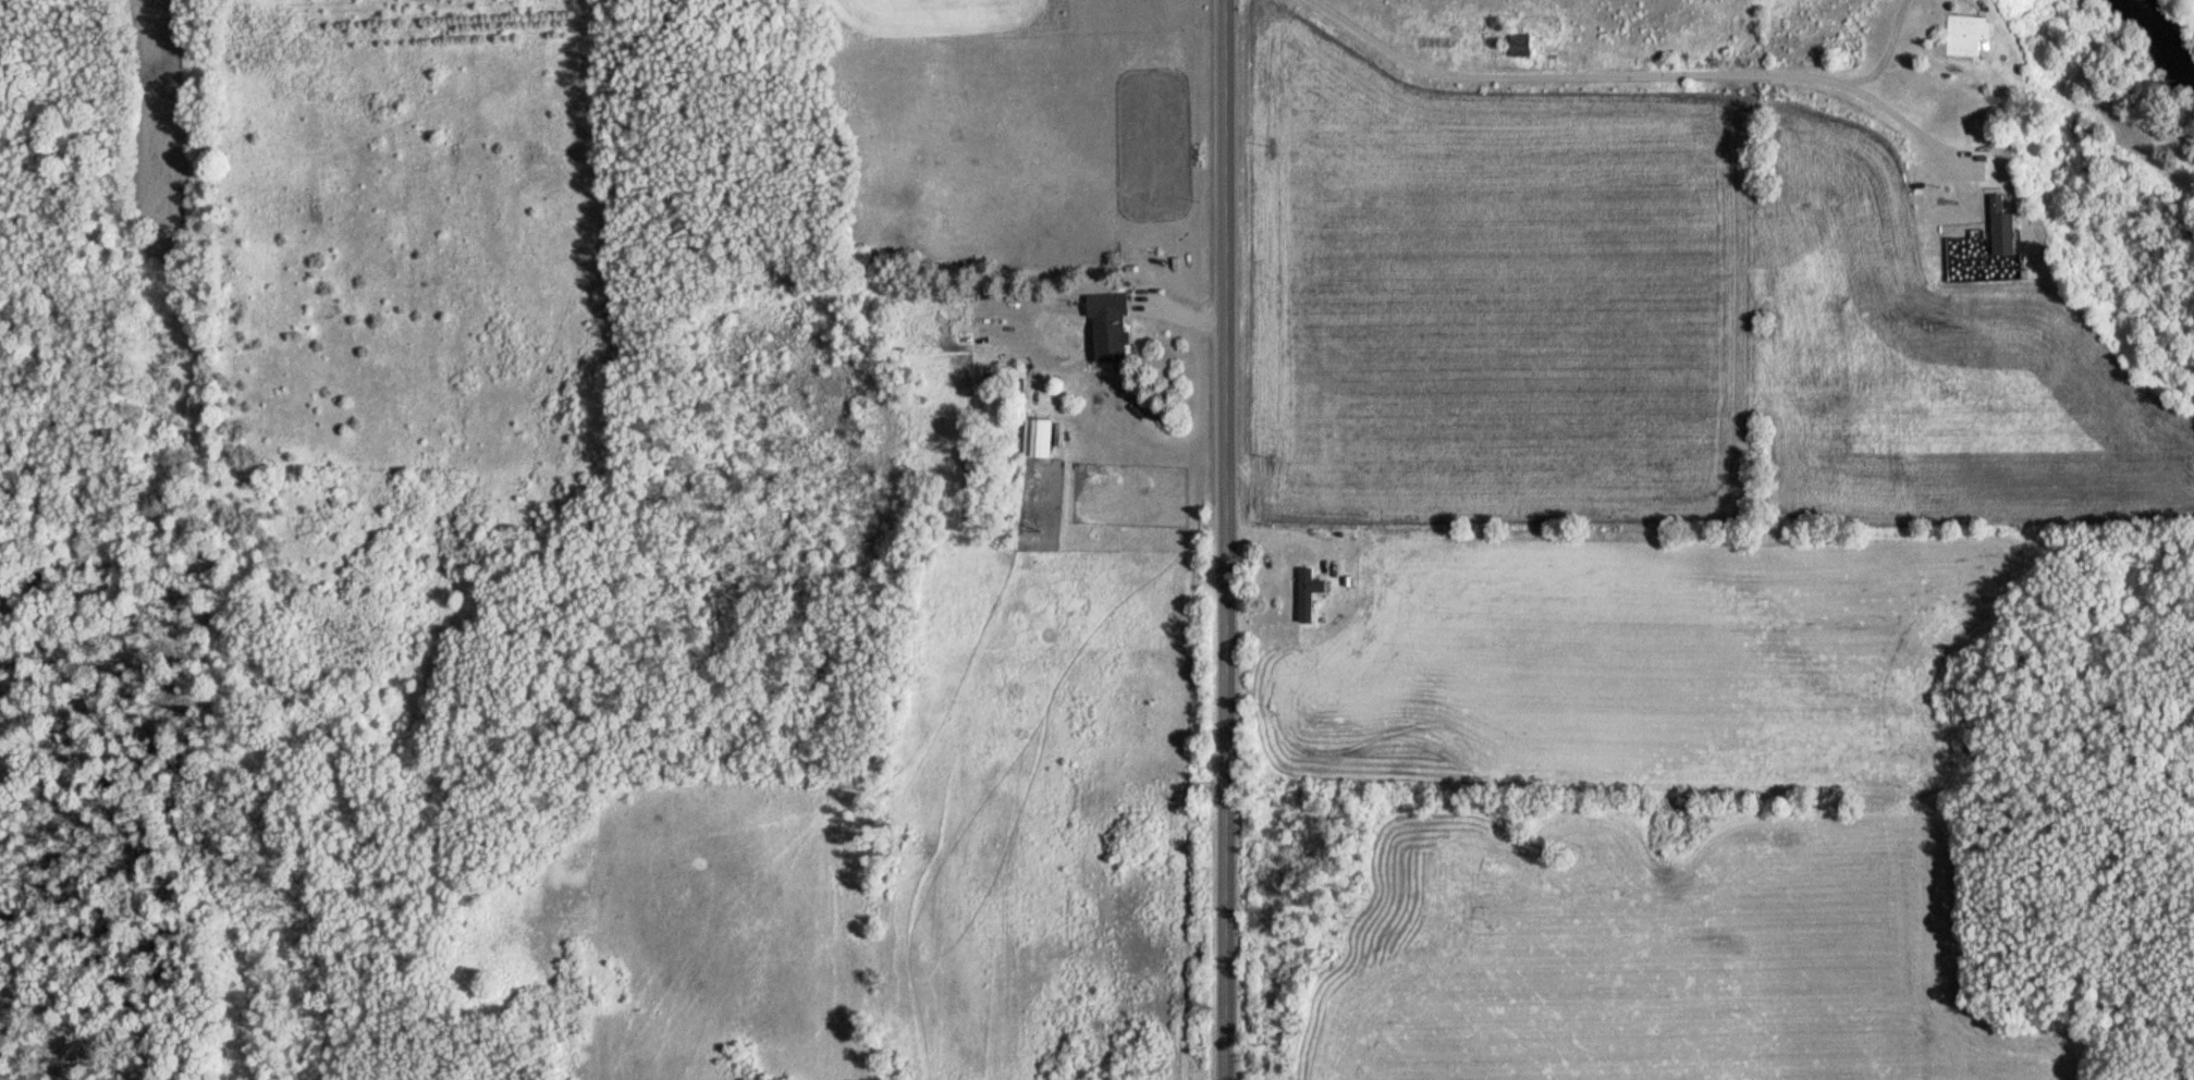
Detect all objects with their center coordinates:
building: (1966, 36)
building: (1517, 46)
river: (2152, 47)
road: (1620, 74)
building: (1106, 328)
building: (1034, 439)
road: (1228, 540)
building: (1316, 586)

